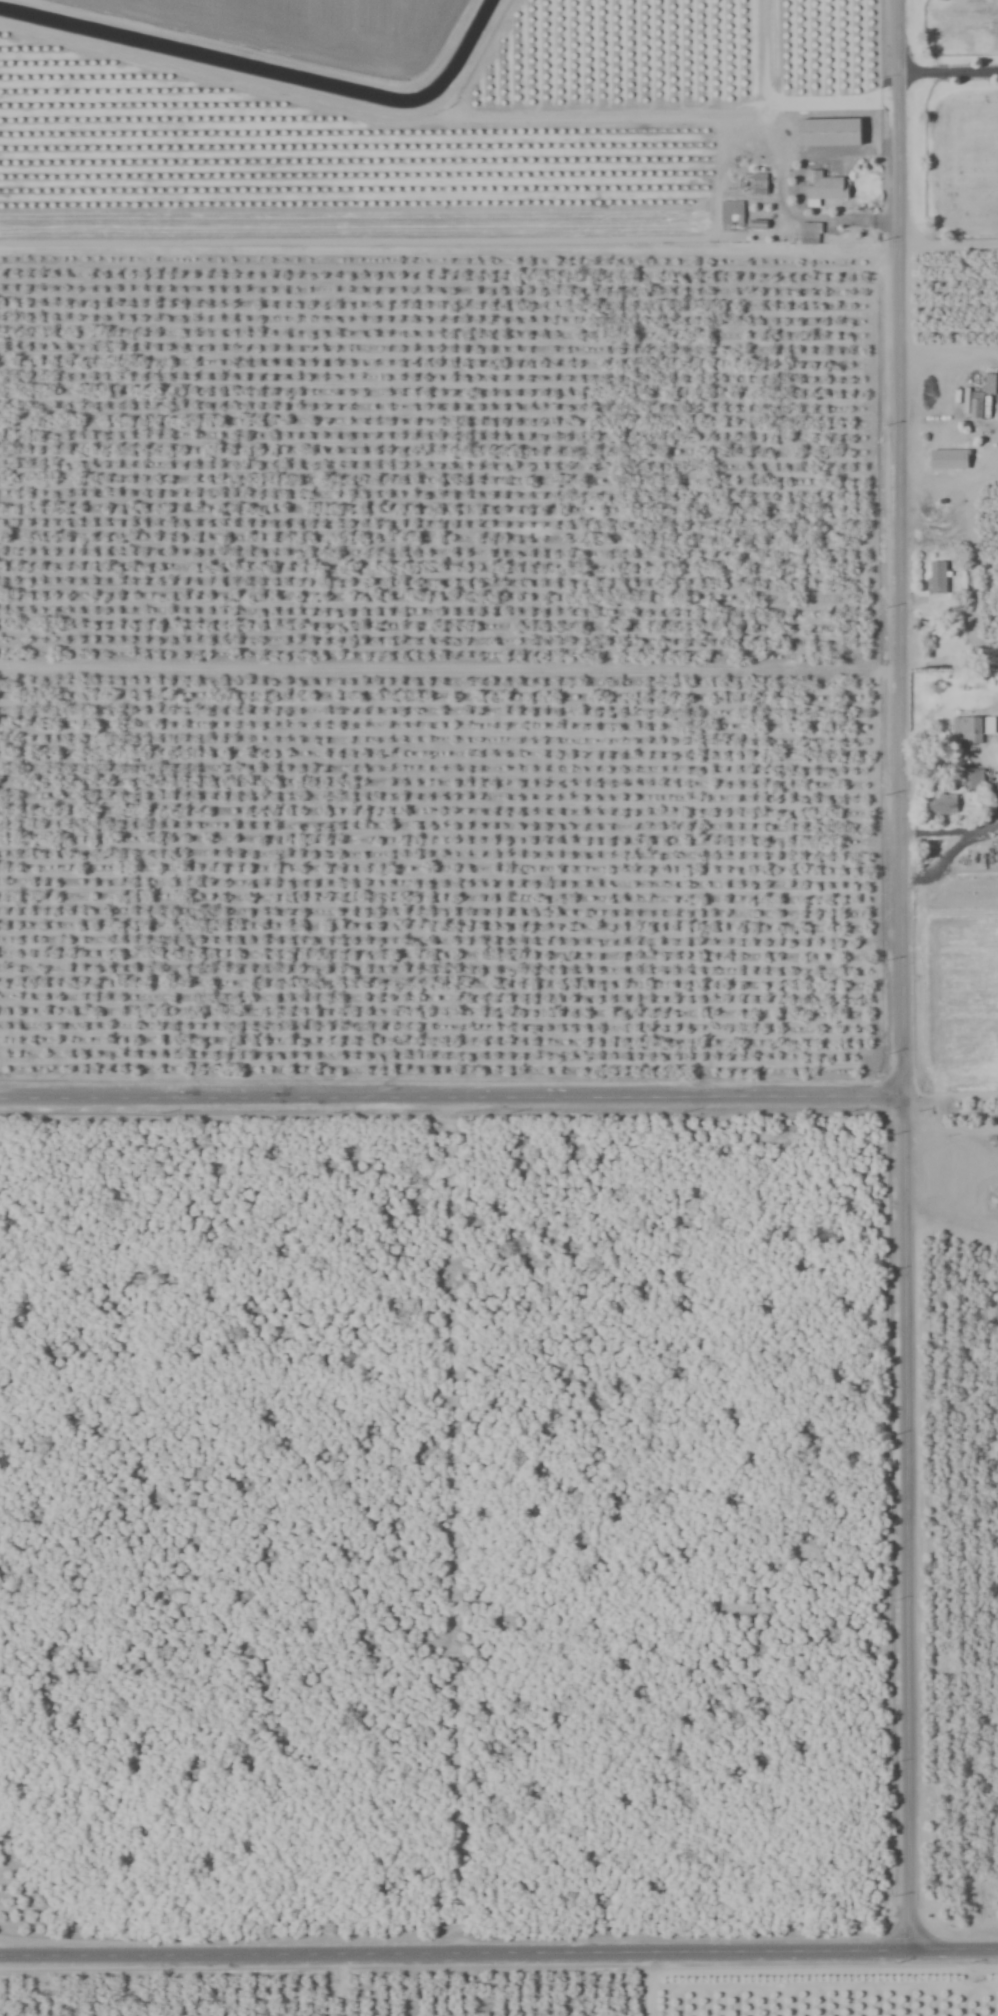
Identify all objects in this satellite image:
road: (948, 67)
building: (829, 134)
building: (759, 184)
building: (824, 187)
building: (730, 217)
building: (808, 234)
road: (948, 242)
building: (941, 380)
building: (989, 385)
building: (976, 408)
building: (952, 460)
building: (936, 578)
building: (970, 731)
building: (972, 780)
building: (942, 804)
road: (903, 975)
road: (452, 1093)
road: (499, 1951)

